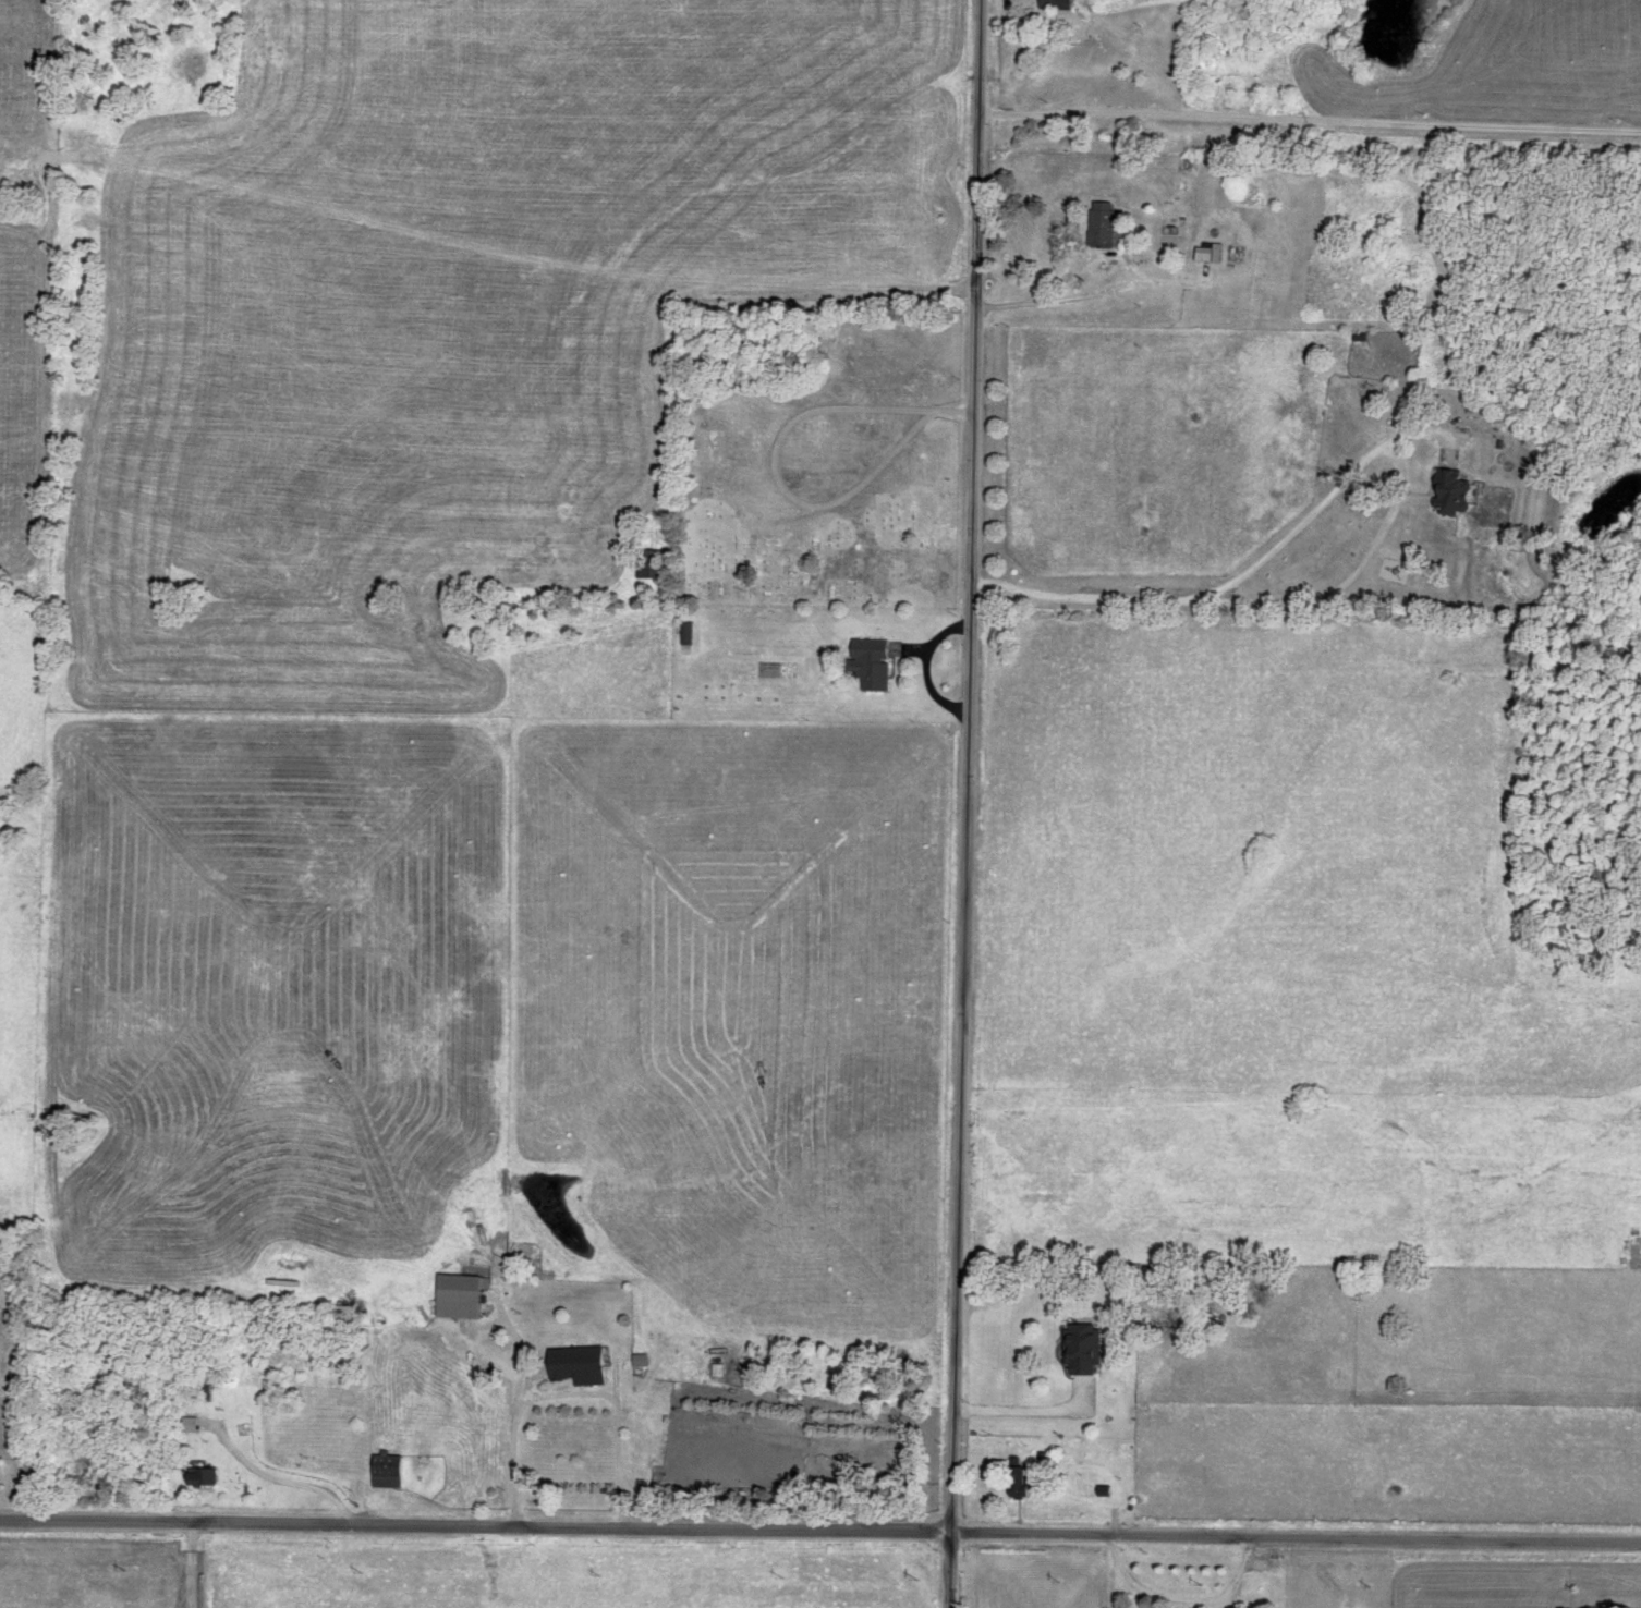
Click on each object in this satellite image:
building: (1245, 3)
building: (1052, 4)
road: (1308, 121)
building: (1097, 224)
building: (1205, 252)
road: (1111, 289)
park: (823, 473)
building: (1448, 492)
building: (645, 564)
road: (1351, 578)
building: (866, 663)
road: (964, 803)
building: (462, 1302)
building: (1082, 1353)
building: (643, 1365)
building: (582, 1371)
road: (1030, 1414)
road: (619, 1415)
road: (512, 1425)
building: (1125, 1454)
building: (384, 1472)
building: (196, 1478)
road: (297, 1485)
building: (1021, 1485)
building: (1105, 1495)
road: (820, 1534)
road: (186, 1566)
road: (1182, 1601)

